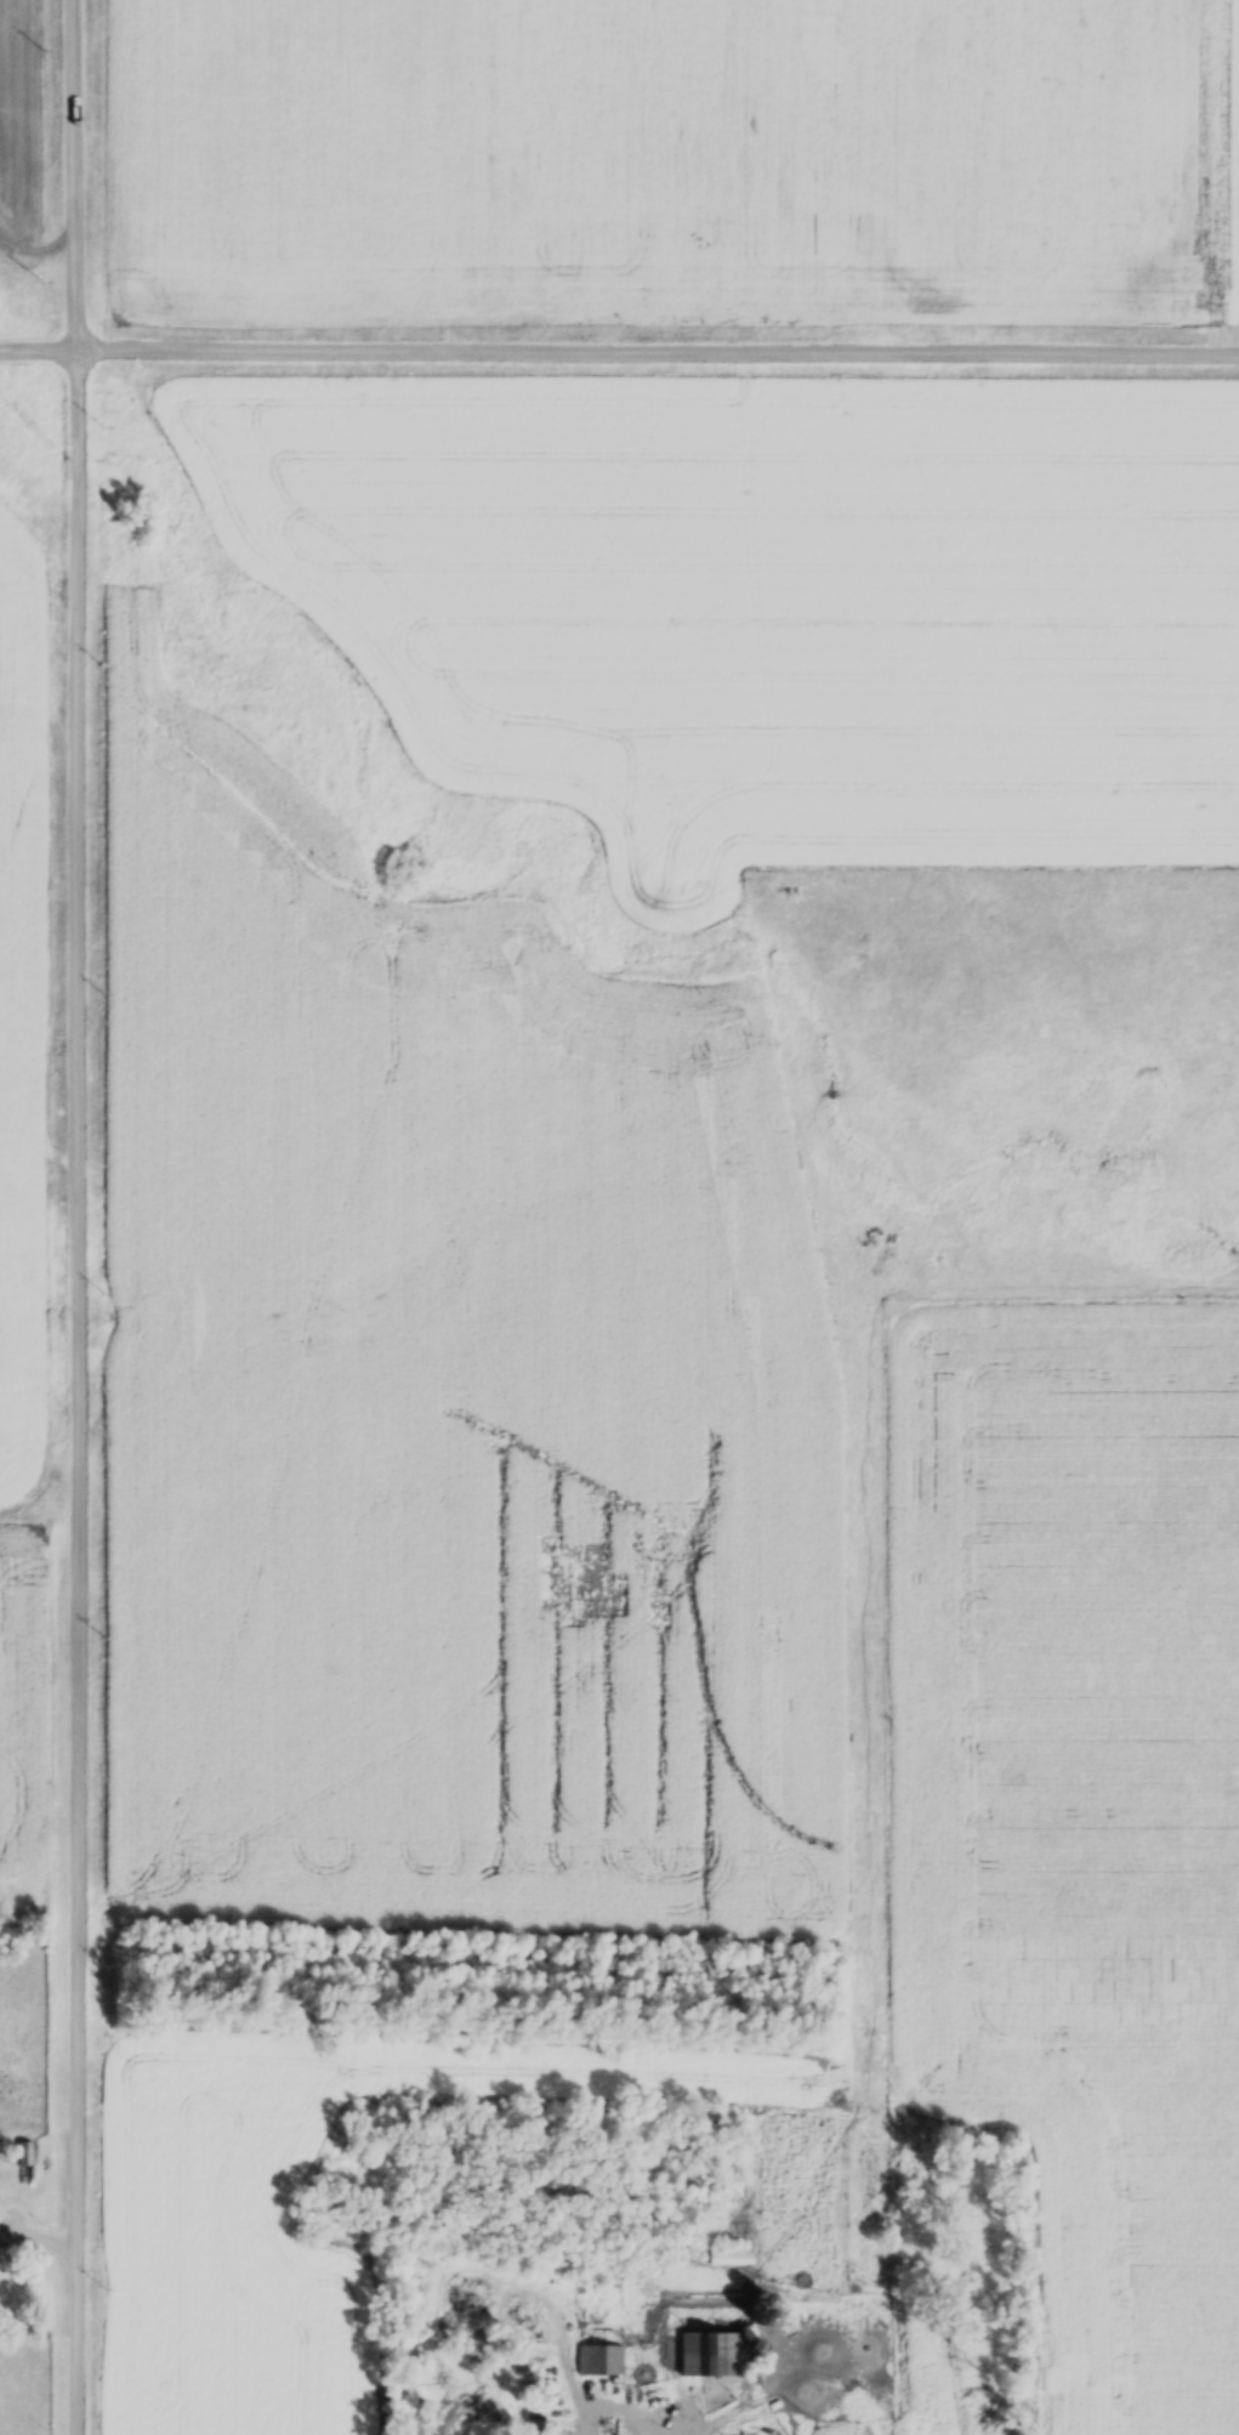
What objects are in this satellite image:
road: (619, 347)
road: (81, 1216)
building: (23, 2156)
road: (40, 2232)
building: (731, 2258)
building: (715, 2357)
building: (599, 2362)
building: (551, 2434)

